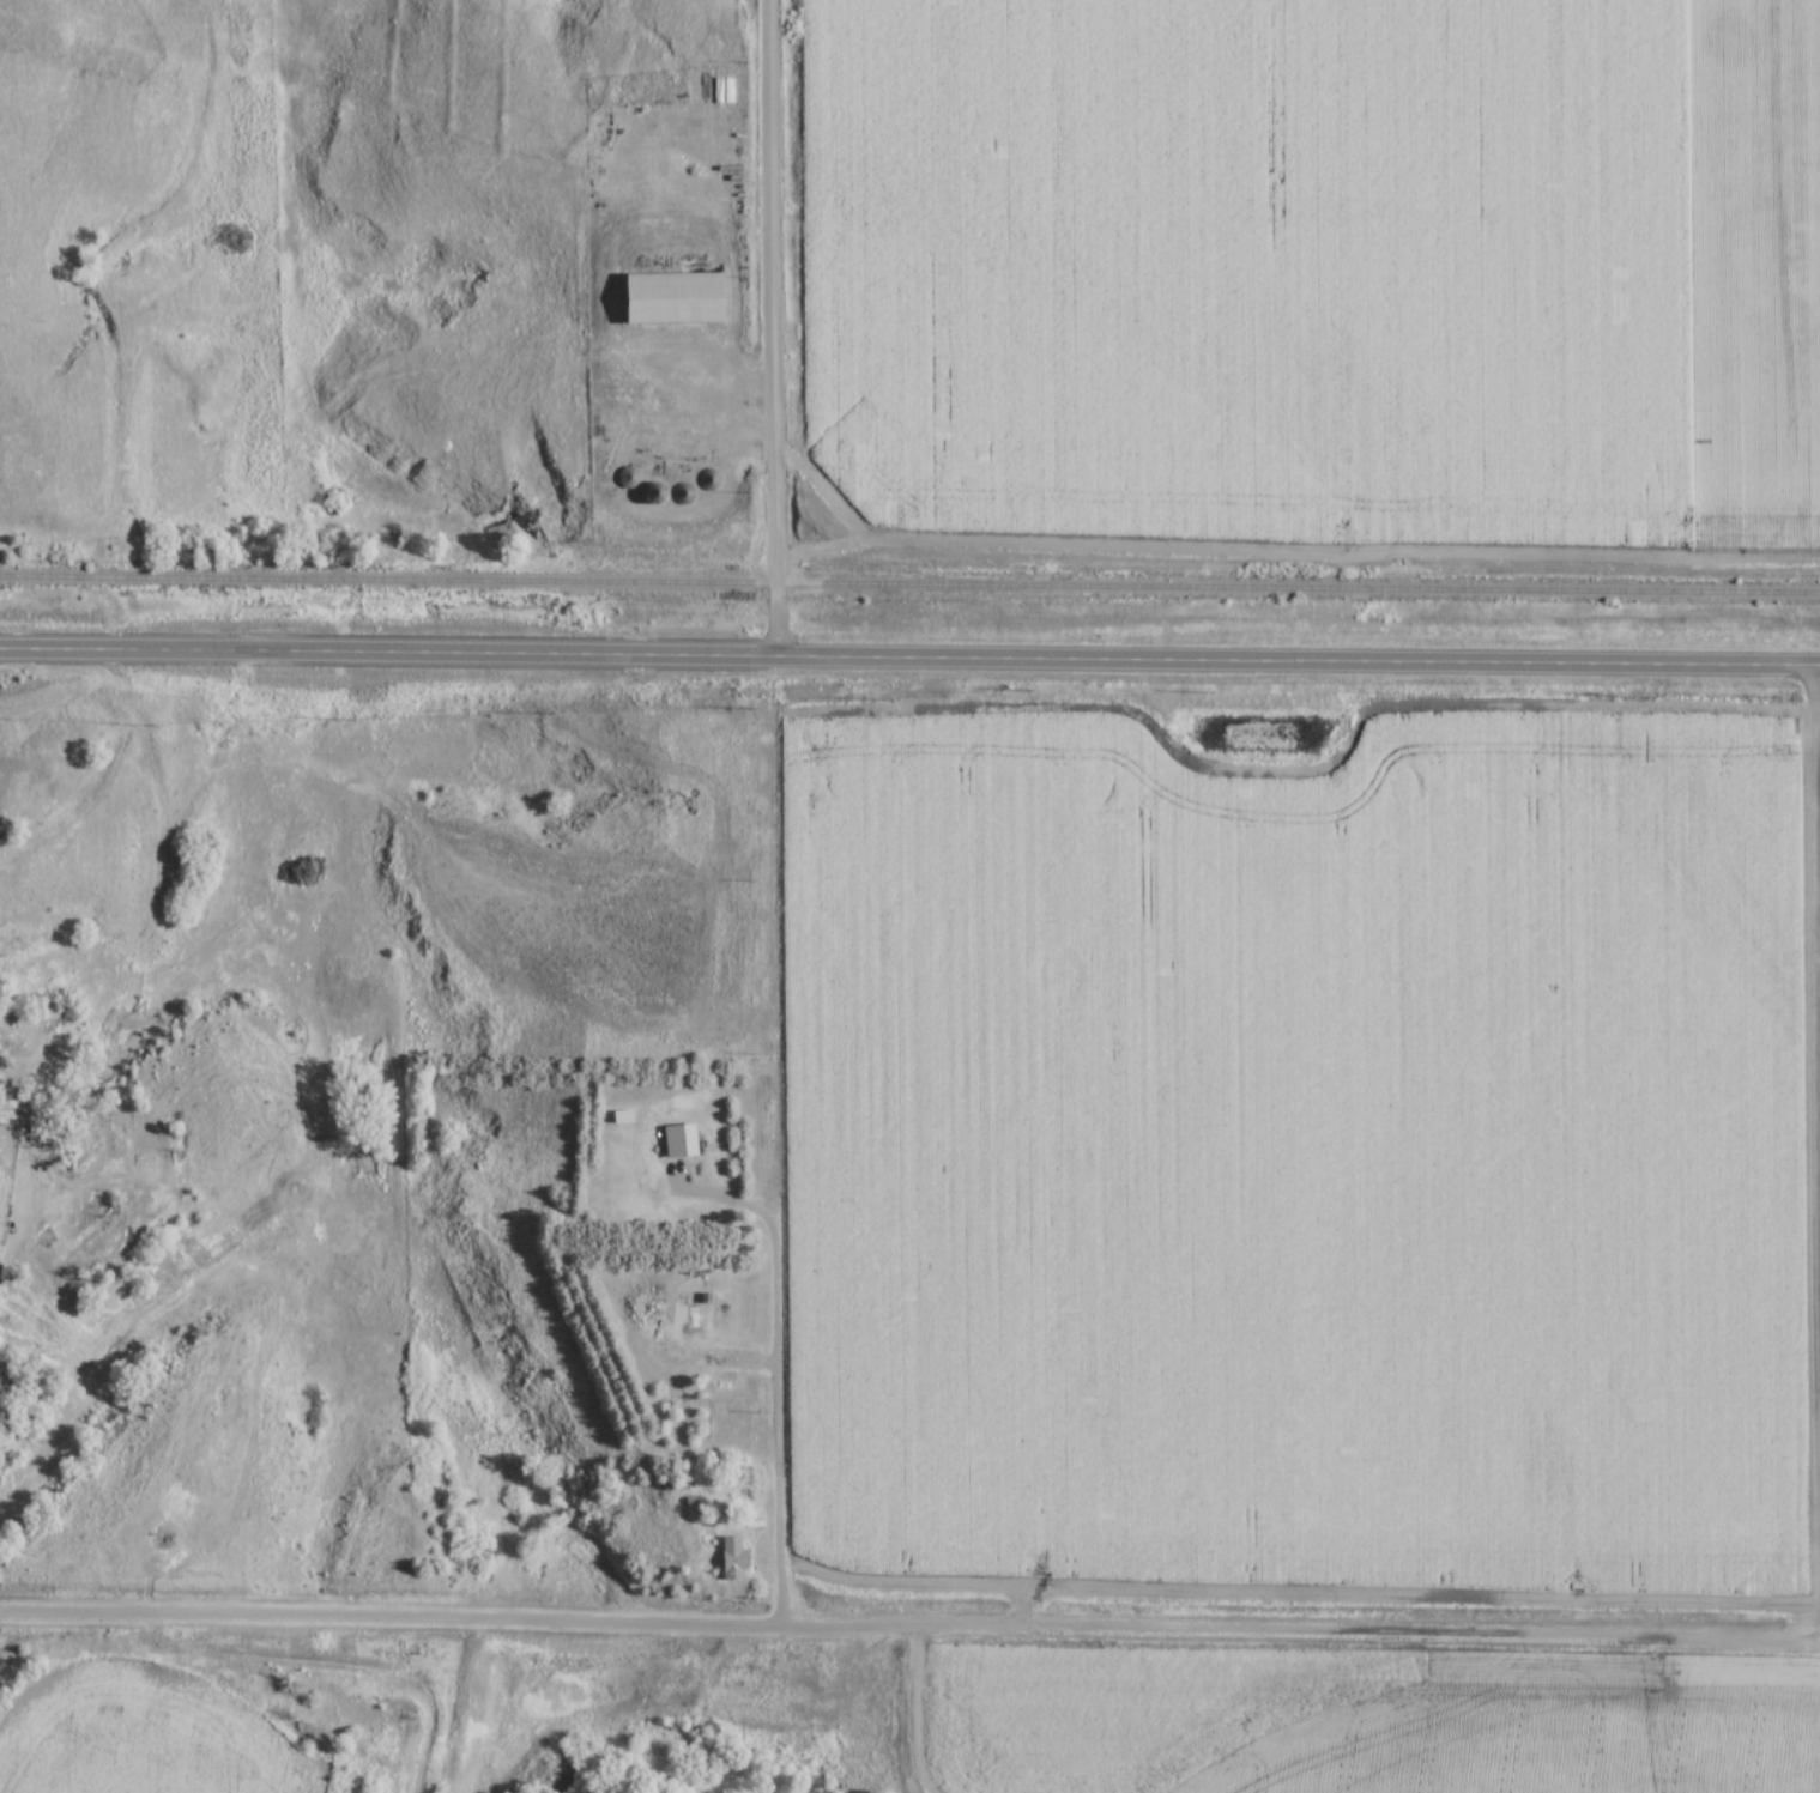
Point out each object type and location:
crop: (1308, 264)
building: (660, 289)
road: (773, 328)
railway: (909, 584)
road: (909, 658)
road: (1809, 1071)
crop: (1281, 1147)
building: (714, 1318)
road: (767, 1412)
building: (725, 1556)
road: (913, 1631)
crop: (1531, 1731)

